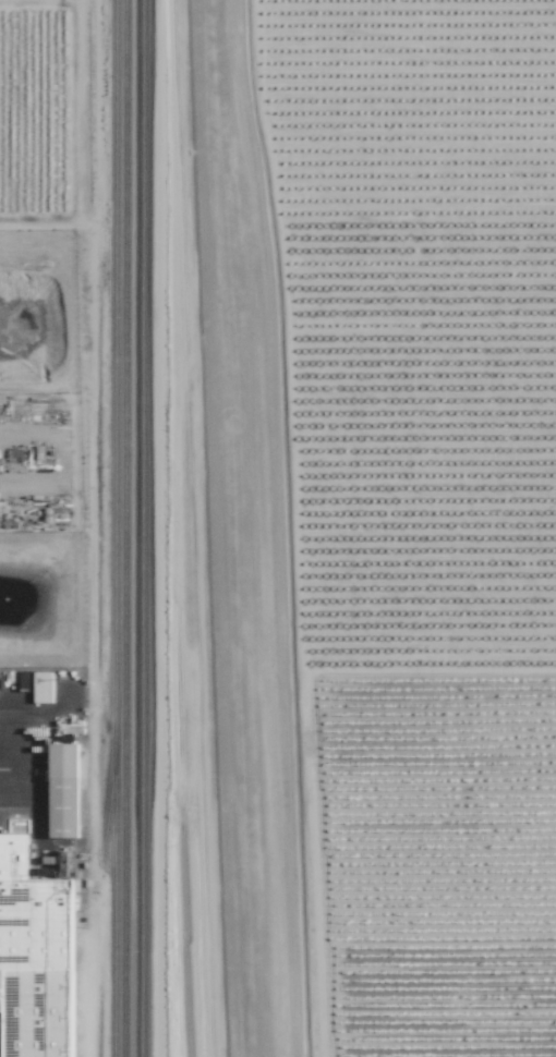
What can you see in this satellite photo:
railway: (138, 527)
railway: (162, 527)
railway: (244, 527)
railway: (117, 528)
railway: (126, 528)
railway: (145, 528)
railway: (196, 528)
railway: (218, 528)
railway: (232, 528)
railway: (262, 594)
building: (69, 790)
railway: (110, 804)
building: (37, 957)

